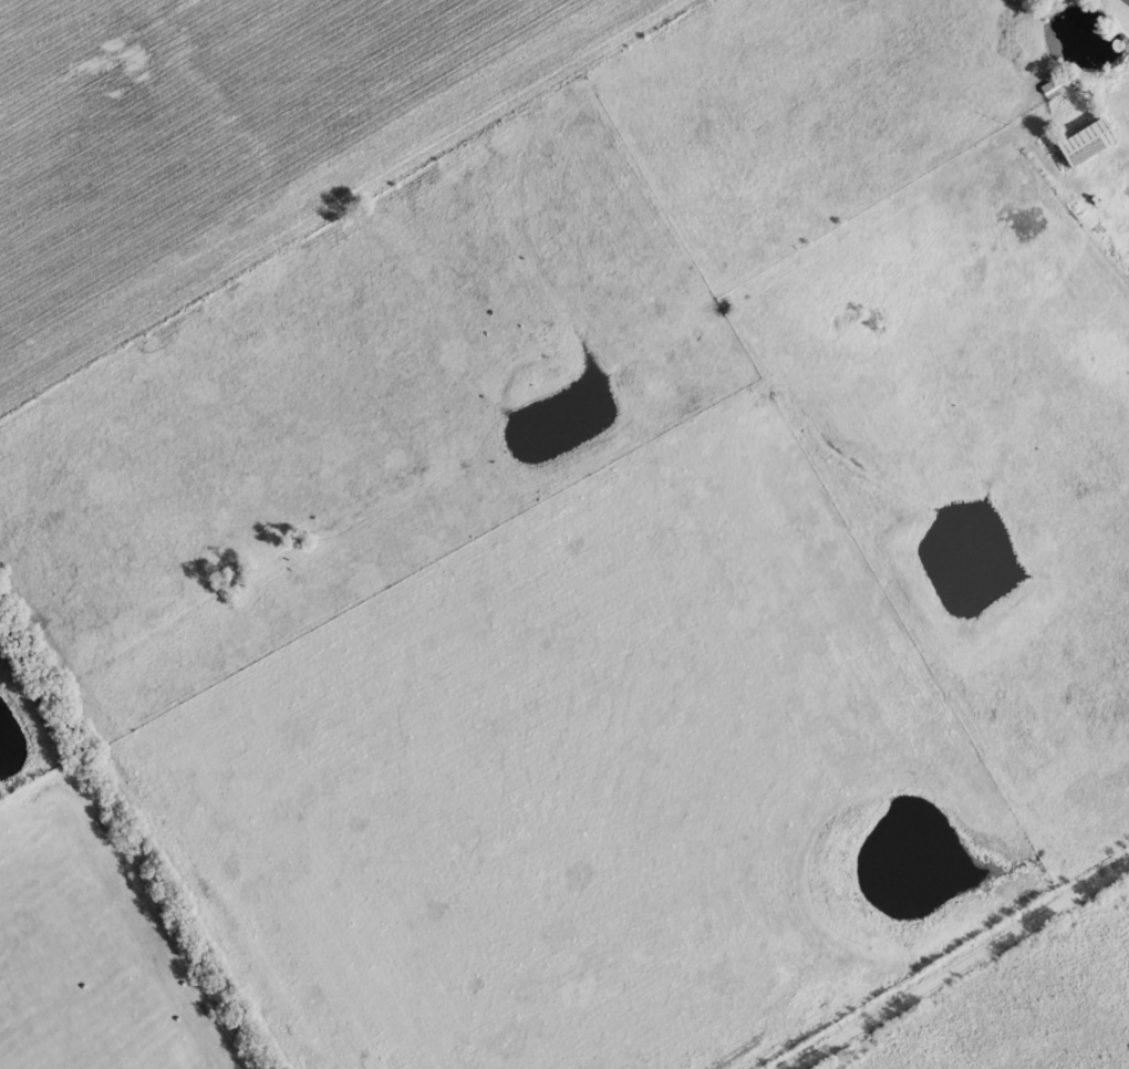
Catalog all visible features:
building: (1088, 142)
road: (963, 968)

